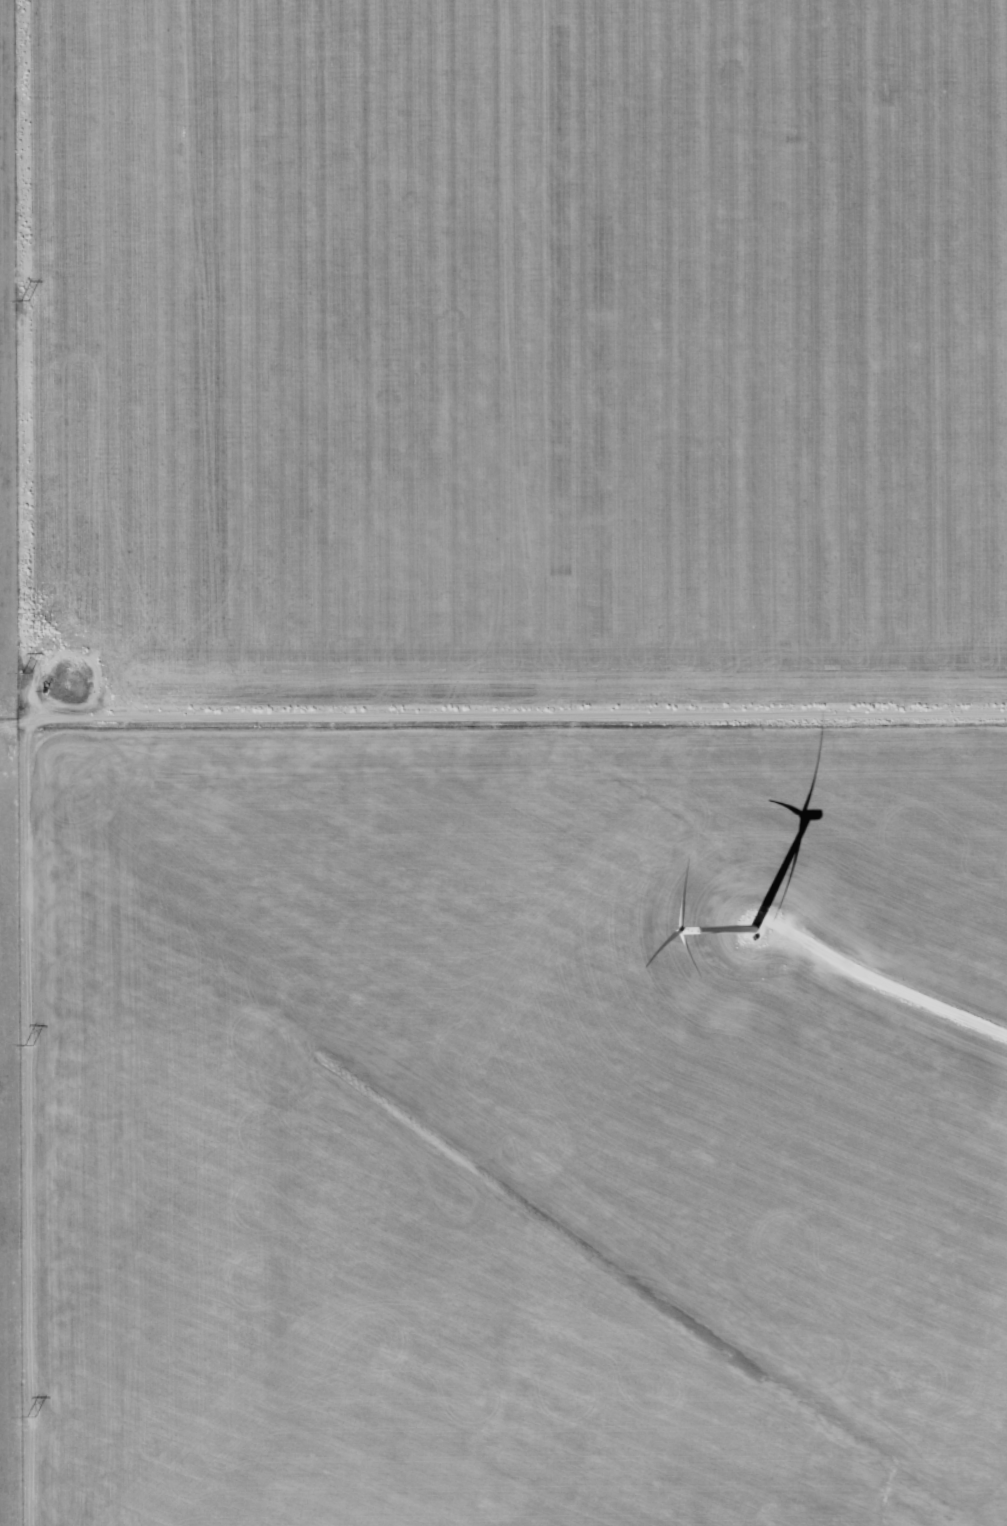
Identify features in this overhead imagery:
road: (514, 716)
wind turbine: (753, 936)
road: (879, 983)

